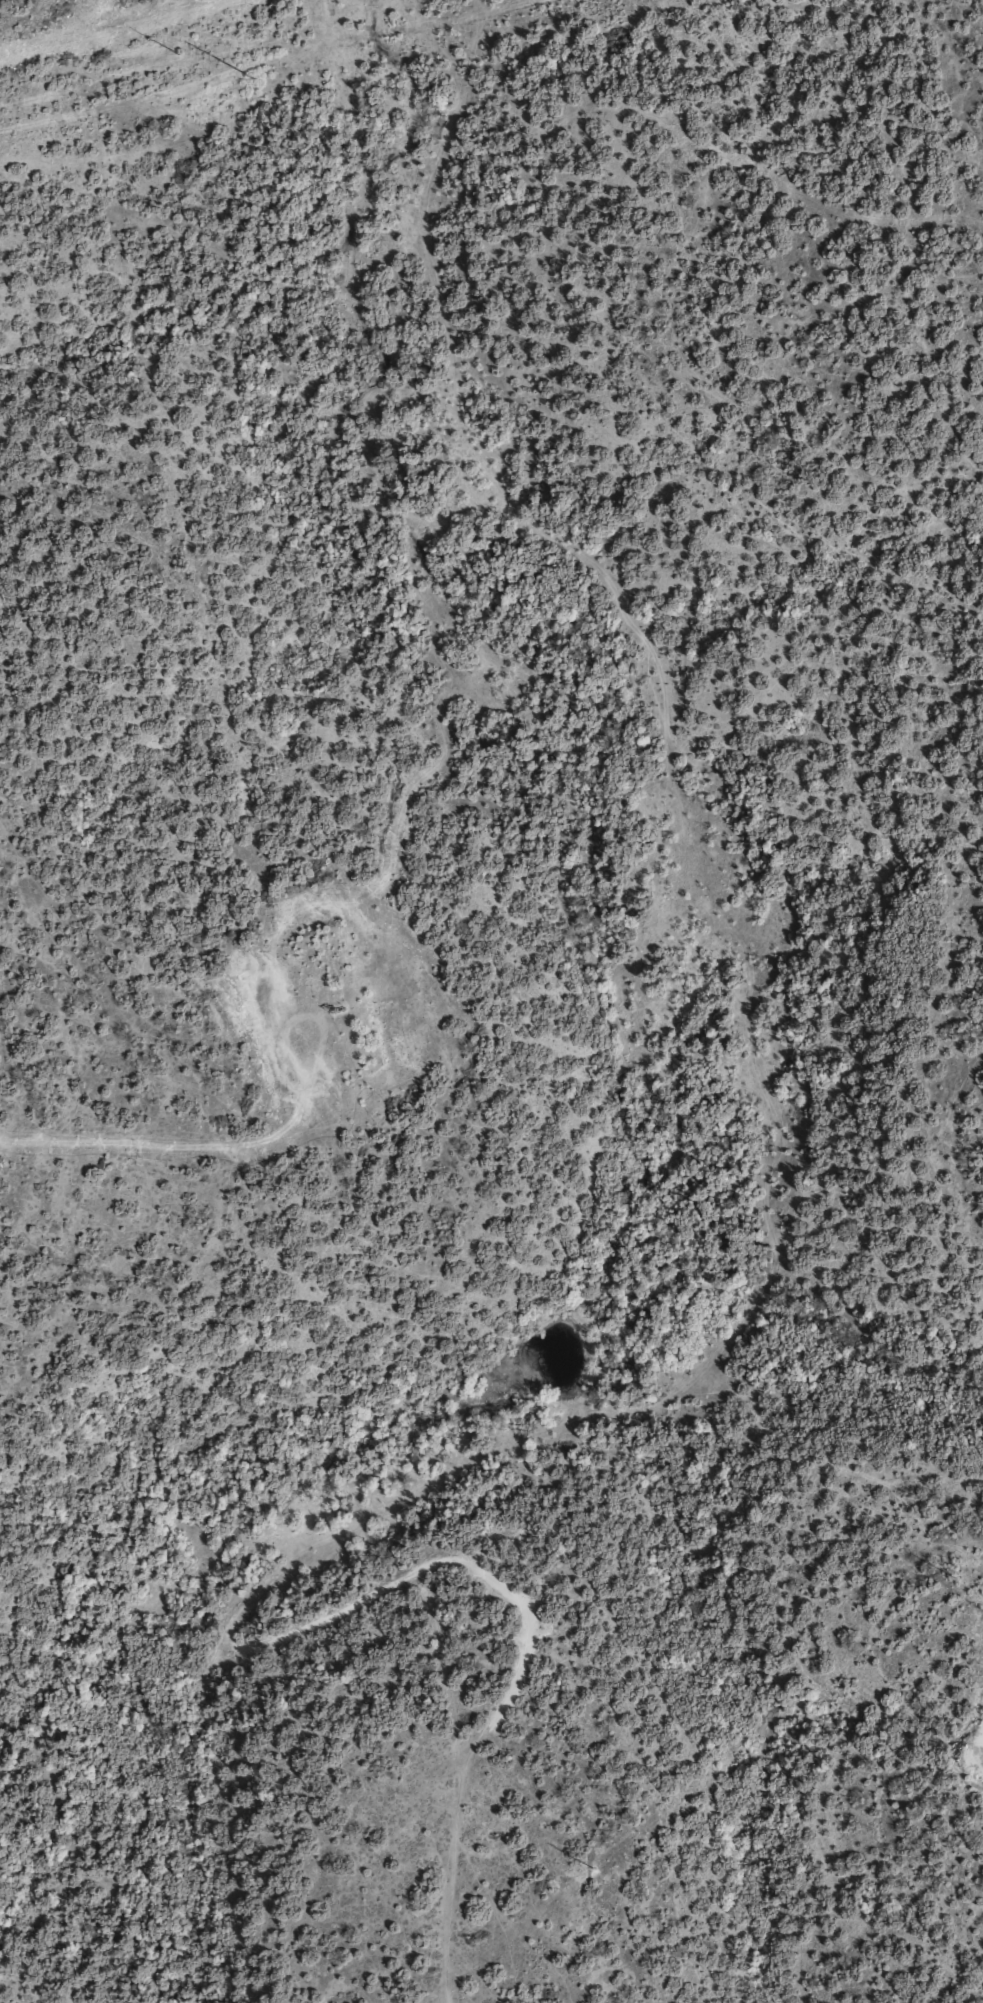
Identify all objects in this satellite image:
road: (325, 29)
power tower: (177, 54)
power tower: (251, 80)
power tower: (954, 1577)
road: (491, 1707)
power tower: (593, 1866)

